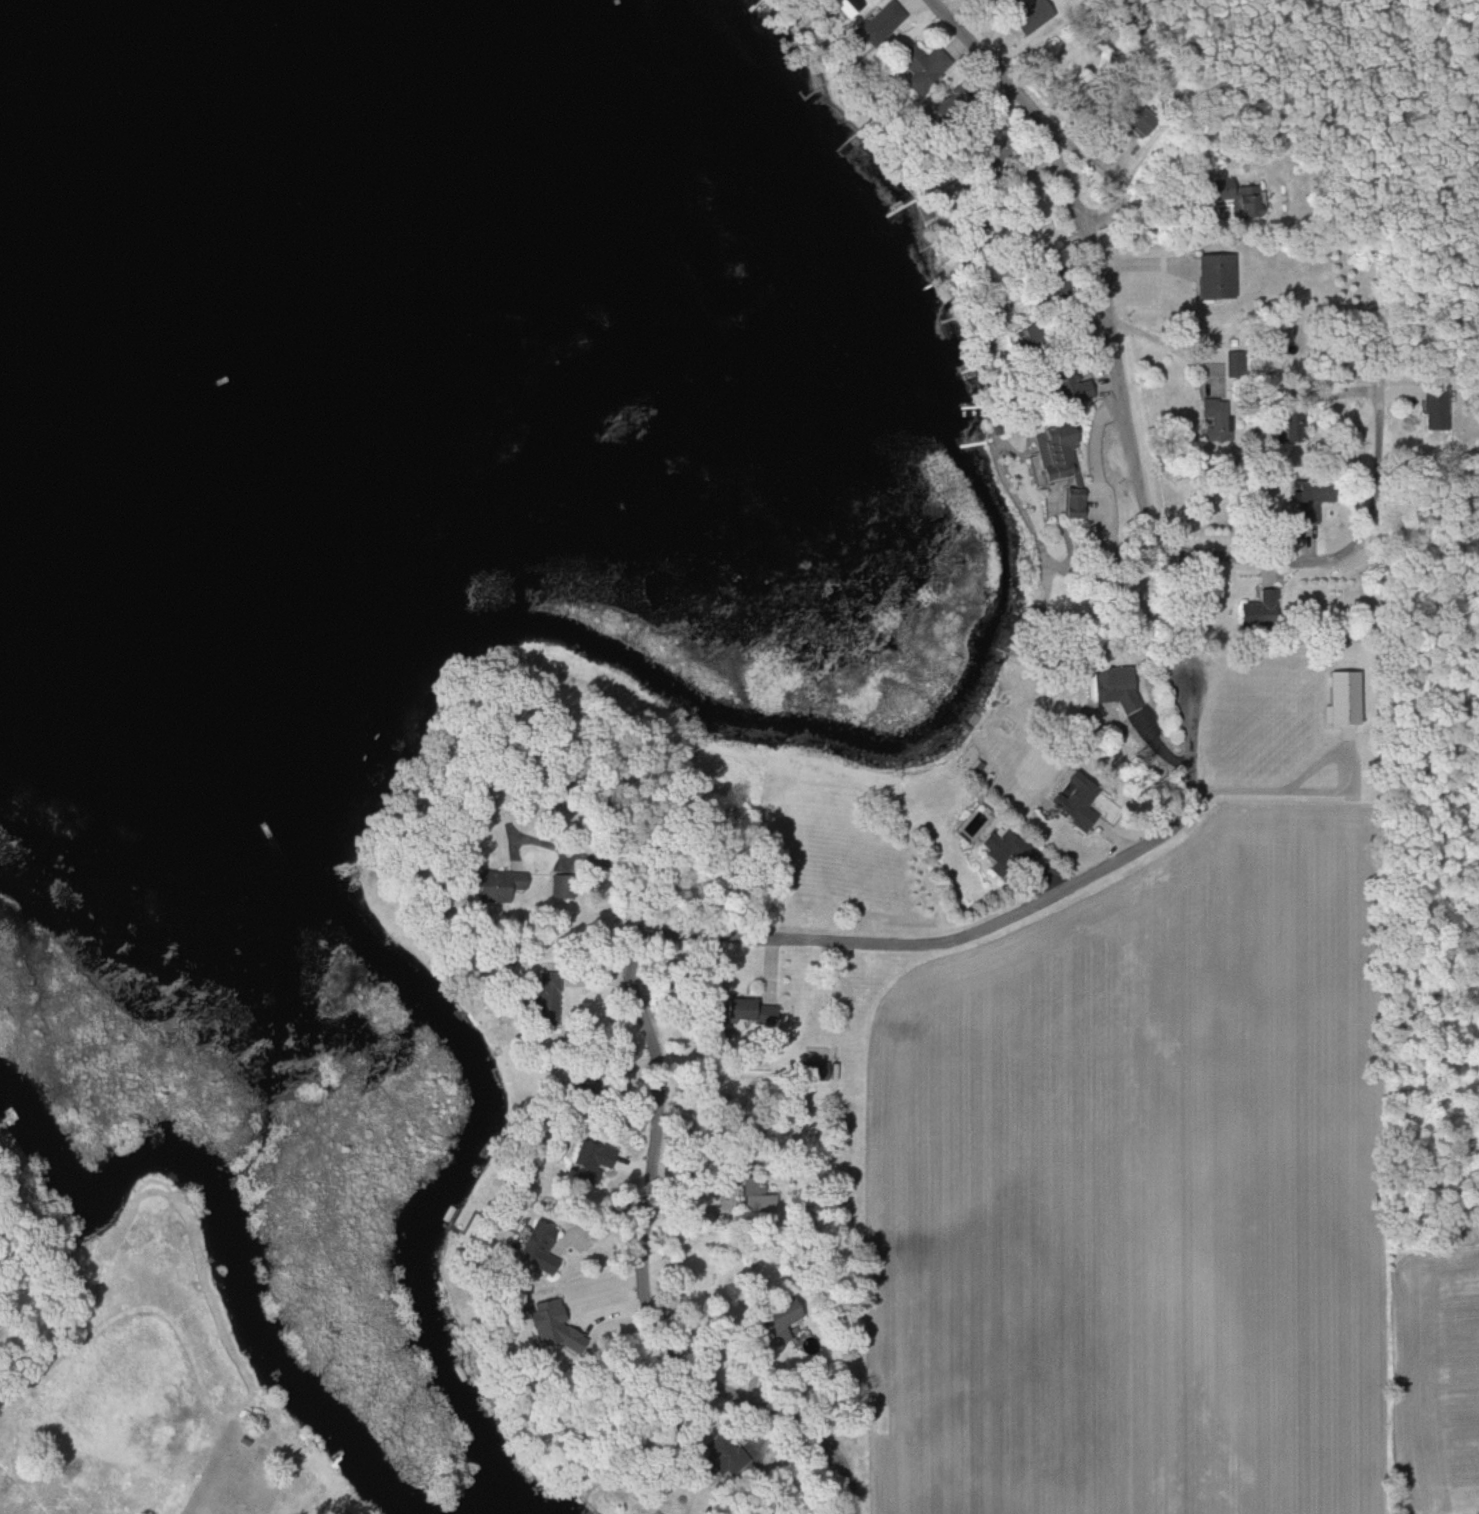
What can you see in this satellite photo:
building: (845, 6)
building: (1029, 14)
building: (879, 23)
building: (915, 70)
building: (1138, 119)
road: (1040, 121)
road: (1063, 175)
building: (1236, 197)
building: (1214, 278)
road: (1168, 346)
building: (1435, 407)
building: (1216, 420)
building: (1286, 429)
building: (1058, 464)
road: (1176, 550)
building: (1259, 606)
building: (1113, 685)
road: (1317, 795)
building: (1074, 803)
building: (1004, 849)
road: (603, 865)
building: (495, 885)
road: (649, 940)
building: (544, 989)
building: (739, 1012)
building: (812, 1070)
building: (587, 1160)
building: (740, 1180)
building: (535, 1247)
building: (776, 1320)
building: (714, 1453)

